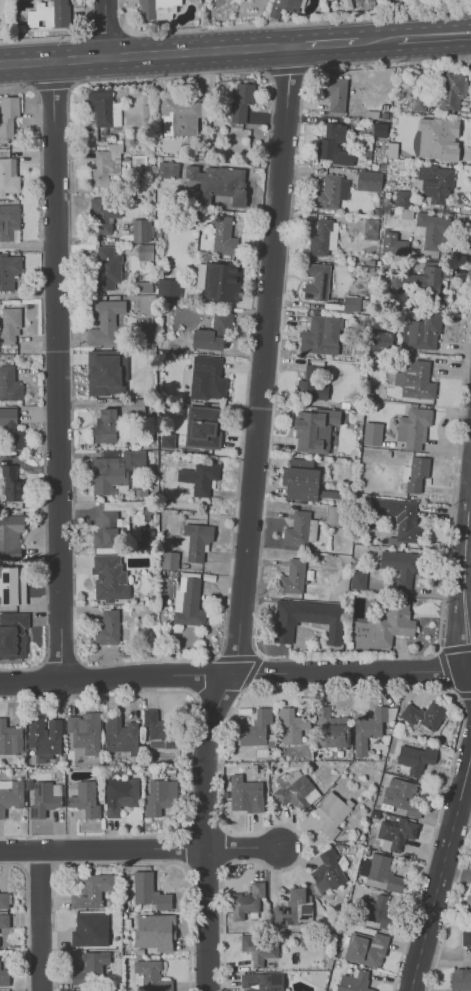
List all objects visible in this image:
building: (326, 0)
building: (346, 4)
building: (285, 6)
building: (157, 8)
building: (48, 14)
road: (282, 23)
road: (105, 28)
road: (461, 28)
road: (424, 35)
road: (377, 38)
road: (461, 40)
road: (324, 42)
road: (145, 54)
road: (286, 70)
road: (51, 85)
building: (452, 90)
building: (336, 94)
building: (241, 101)
building: (101, 104)
building: (182, 113)
building: (8, 115)
building: (379, 129)
building: (437, 138)
building: (333, 145)
building: (104, 165)
building: (8, 175)
building: (368, 180)
building: (230, 182)
building: (435, 182)
building: (331, 191)
building: (402, 198)
building: (104, 207)
building: (8, 221)
building: (370, 228)
building: (433, 229)
building: (141, 230)
building: (223, 236)
building: (322, 237)
building: (393, 243)
building: (145, 252)
building: (109, 261)
building: (8, 270)
building: (424, 279)
building: (221, 281)
building: (316, 281)
building: (145, 286)
building: (167, 291)
building: (351, 303)
building: (104, 320)
building: (9, 324)
building: (420, 331)
building: (213, 332)
building: (319, 335)
building: (381, 340)
road: (56, 369)
building: (106, 371)
building: (206, 378)
road: (42, 379)
building: (414, 379)
building: (9, 384)
building: (8, 415)
building: (105, 426)
building: (203, 427)
building: (413, 427)
building: (313, 429)
building: (372, 433)
building: (15, 439)
building: (166, 440)
building: (134, 458)
building: (415, 474)
building: (107, 475)
building: (200, 477)
building: (300, 480)
building: (11, 483)
building: (139, 492)
building: (333, 515)
building: (399, 517)
road: (248, 519)
building: (300, 529)
building: (110, 531)
building: (10, 532)
building: (196, 541)
road: (259, 556)
building: (169, 560)
building: (401, 564)
road: (464, 567)
building: (292, 577)
building: (110, 579)
building: (358, 579)
building: (16, 585)
building: (189, 605)
building: (306, 619)
building: (393, 624)
building: (105, 627)
building: (13, 634)
road: (224, 638)
road: (453, 649)
road: (236, 657)
road: (60, 663)
road: (445, 673)
road: (235, 674)
road: (249, 674)
road: (275, 687)
road: (462, 695)
building: (424, 714)
building: (290, 725)
building: (159, 727)
building: (255, 728)
building: (332, 729)
building: (84, 731)
building: (44, 735)
building: (120, 735)
building: (10, 738)
road: (187, 756)
building: (413, 759)
building: (295, 789)
building: (245, 793)
building: (120, 795)
building: (401, 795)
building: (11, 796)
building: (158, 798)
building: (85, 799)
building: (42, 800)
building: (331, 812)
road: (463, 813)
building: (395, 833)
road: (246, 848)
road: (104, 850)
road: (122, 862)
building: (327, 871)
road: (455, 871)
building: (380, 873)
road: (439, 873)
building: (92, 890)
building: (149, 891)
building: (4, 899)
building: (247, 900)
building: (469, 906)
building: (293, 908)
building: (378, 908)
road: (450, 909)
road: (25, 918)
building: (4, 920)
road: (40, 921)
building: (90, 928)
building: (154, 932)
building: (466, 936)
building: (259, 948)
building: (365, 948)
road: (444, 958)
building: (90, 967)
building: (4, 976)
building: (152, 976)
building: (459, 979)
building: (354, 981)
building: (79, 990)

